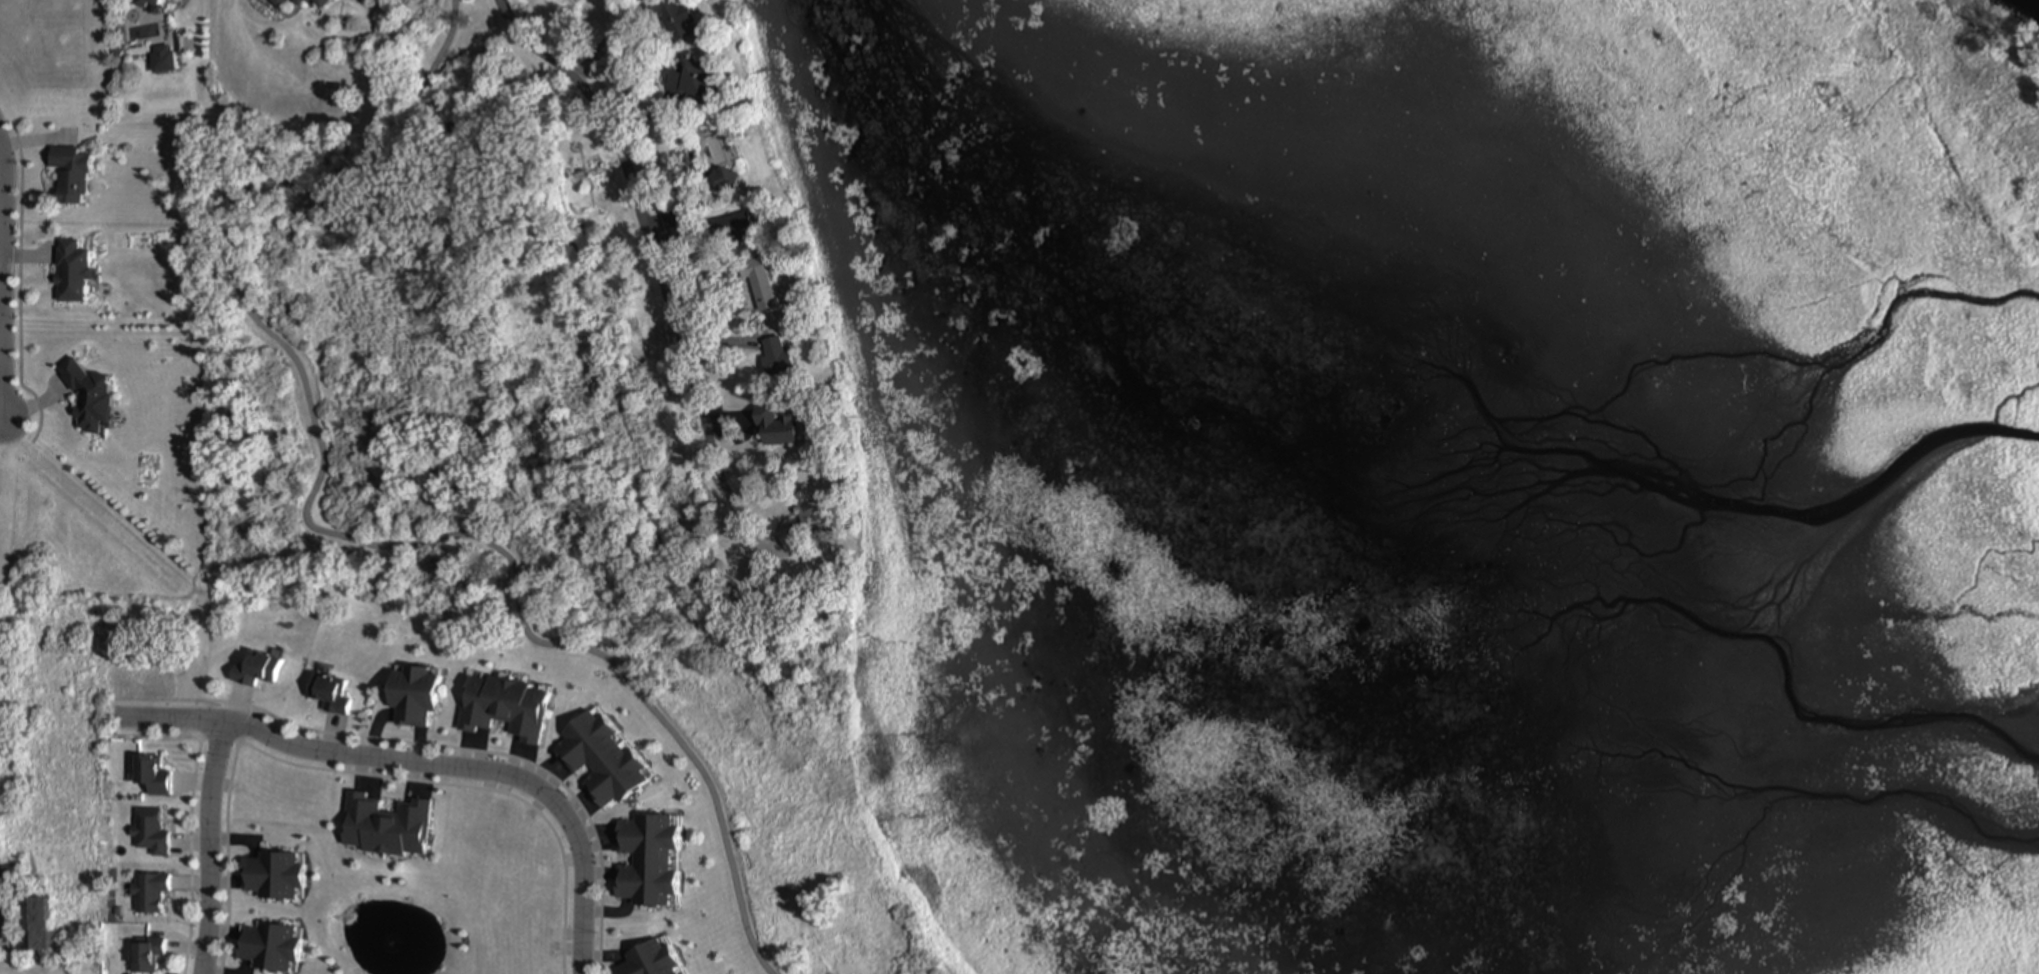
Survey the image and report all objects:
building: (296, 2)
building: (276, 3)
building: (318, 3)
building: (144, 4)
building: (672, 18)
building: (688, 79)
building: (68, 175)
building: (721, 180)
building: (732, 227)
road: (655, 253)
building: (70, 272)
building: (756, 283)
road: (3, 285)
road: (21, 286)
building: (774, 357)
building: (87, 397)
building: (773, 426)
park: (543, 484)
road: (317, 530)
building: (256, 669)
building: (329, 694)
building: (411, 696)
building: (502, 708)
road: (359, 730)
building: (599, 760)
road: (424, 764)
building: (150, 775)
road: (472, 784)
building: (383, 821)
building: (149, 832)
road: (210, 848)
road: (185, 852)
building: (646, 859)
building: (10, 873)
building: (271, 876)
building: (148, 892)
building: (32, 922)
building: (266, 947)
building: (144, 954)
building: (649, 959)
road: (212, 973)

